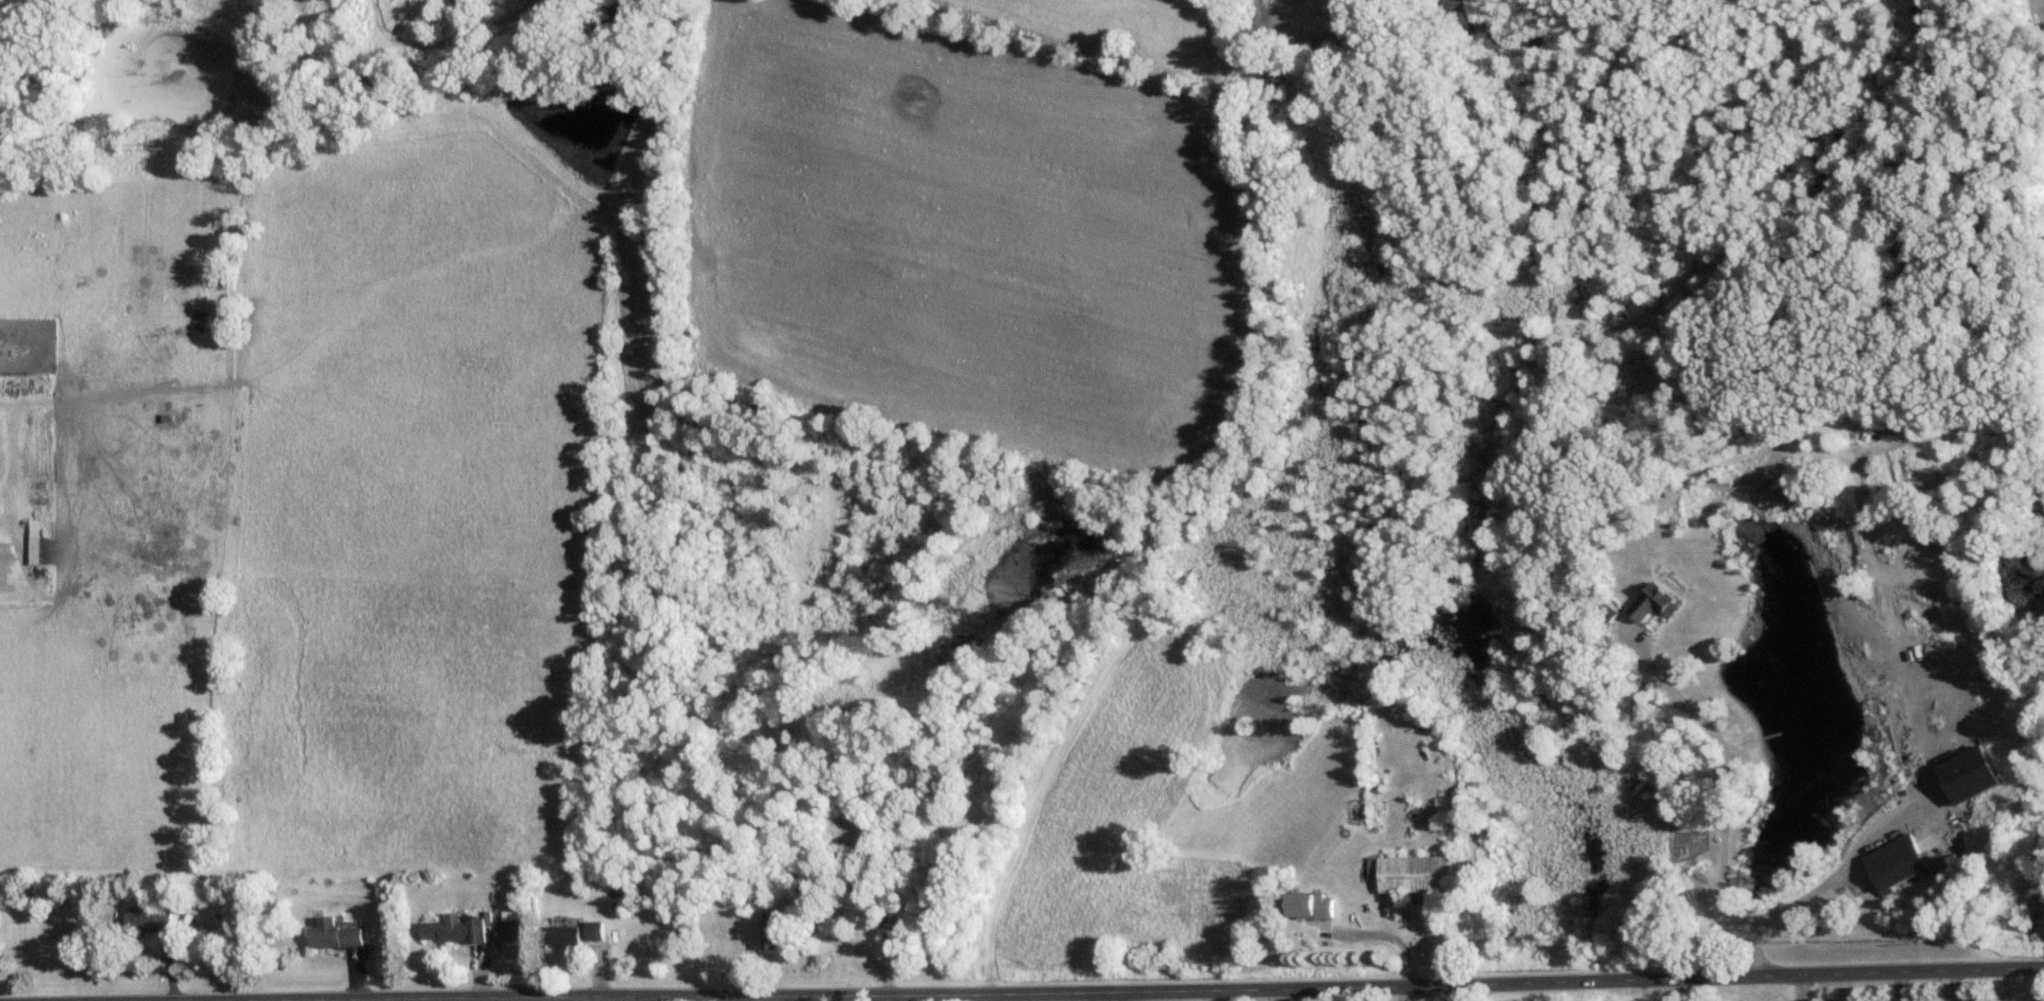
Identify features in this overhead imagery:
power tower: (164, 143)
road: (2, 500)
building: (33, 541)
building: (1654, 602)
building: (1609, 612)
road: (1730, 772)
building: (1891, 861)
building: (1410, 873)
road: (1835, 878)
building: (1308, 905)
building: (146, 918)
building: (513, 923)
building: (453, 929)
building: (772, 929)
building: (593, 930)
building: (333, 934)
building: (563, 935)
building: (888, 936)
road: (853, 942)
road: (1389, 943)
road: (1331, 980)
road: (1111, 993)
road: (739, 997)

